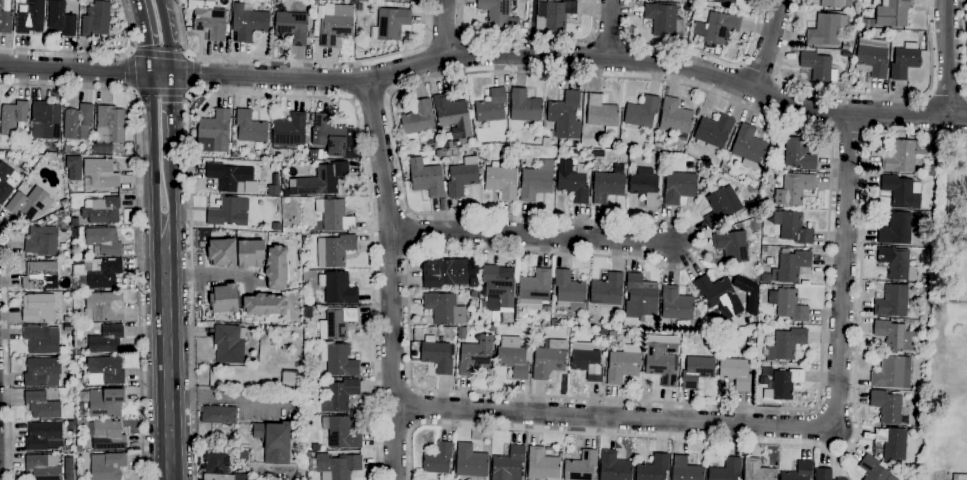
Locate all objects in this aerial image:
building: (405, 0)
building: (723, 1)
building: (836, 4)
building: (892, 13)
building: (498, 14)
building: (555, 16)
building: (30, 18)
building: (662, 19)
building: (60, 20)
building: (96, 20)
building: (209, 20)
building: (5, 21)
building: (248, 23)
building: (867, 23)
building: (390, 24)
building: (336, 26)
building: (291, 27)
road: (443, 28)
building: (717, 28)
road: (610, 29)
building: (826, 30)
building: (874, 30)
road: (147, 36)
road: (165, 36)
building: (310, 36)
road: (528, 38)
road: (768, 45)
road: (963, 45)
building: (845, 46)
road: (92, 54)
road: (698, 54)
road: (177, 56)
building: (871, 57)
road: (947, 57)
road: (561, 58)
road: (300, 60)
building: (905, 60)
building: (818, 67)
road: (76, 70)
road: (758, 70)
road: (131, 72)
traffic signals: (152, 74)
traffic signals: (169, 74)
road: (160, 92)
road: (858, 93)
road: (947, 94)
road: (264, 95)
road: (371, 97)
building: (491, 106)
building: (524, 107)
building: (641, 112)
building: (602, 114)
building: (565, 115)
road: (170, 116)
building: (452, 116)
building: (12, 117)
building: (675, 117)
building: (47, 119)
building: (417, 121)
building: (77, 122)
building: (110, 125)
building: (250, 128)
building: (712, 131)
building: (214, 132)
building: (289, 132)
road: (851, 133)
building: (307, 137)
building: (334, 137)
building: (431, 140)
building: (545, 142)
building: (748, 144)
building: (443, 145)
building: (659, 147)
building: (431, 148)
building: (66, 149)
building: (506, 151)
building: (516, 151)
building: (525, 152)
building: (438, 153)
building: (798, 154)
building: (9, 156)
road: (153, 156)
building: (904, 156)
building: (32, 158)
building: (257, 158)
building: (270, 158)
building: (625, 167)
building: (72, 168)
building: (932, 170)
building: (101, 173)
building: (717, 175)
building: (229, 177)
building: (462, 177)
building: (427, 178)
building: (322, 179)
building: (7, 181)
building: (536, 181)
building: (501, 182)
building: (572, 182)
building: (607, 186)
building: (248, 187)
building: (679, 187)
building: (644, 188)
building: (793, 189)
building: (901, 191)
road: (171, 199)
building: (65, 203)
building: (29, 204)
building: (718, 209)
building: (101, 210)
building: (228, 211)
building: (334, 215)
road: (137, 218)
building: (62, 222)
building: (74, 222)
park: (956, 224)
building: (795, 228)
building: (896, 229)
road: (532, 234)
building: (43, 238)
building: (103, 241)
building: (731, 246)
building: (763, 249)
building: (338, 250)
building: (221, 253)
building: (249, 254)
building: (85, 256)
building: (897, 263)
building: (792, 265)
building: (275, 268)
road: (209, 273)
building: (445, 273)
building: (40, 275)
building: (104, 275)
road: (391, 278)
building: (765, 278)
building: (474, 282)
building: (76, 285)
building: (497, 286)
building: (535, 286)
building: (337, 288)
building: (569, 290)
building: (605, 292)
building: (473, 294)
building: (719, 296)
building: (223, 298)
building: (640, 299)
building: (75, 300)
building: (892, 301)
building: (482, 304)
building: (676, 304)
building: (263, 305)
building: (790, 305)
building: (105, 306)
building: (38, 307)
building: (441, 308)
building: (308, 313)
building: (522, 316)
building: (66, 319)
building: (590, 320)
building: (554, 322)
building: (336, 323)
building: (68, 328)
building: (461, 333)
building: (612, 334)
building: (894, 337)
building: (538, 338)
building: (106, 339)
building: (41, 340)
building: (751, 341)
building: (229, 343)
building: (785, 344)
building: (285, 348)
building: (749, 350)
building: (924, 351)
road: (7, 353)
building: (80, 353)
building: (434, 355)
building: (476, 356)
road: (166, 358)
building: (81, 359)
building: (338, 360)
building: (514, 360)
building: (548, 360)
building: (662, 363)
building: (587, 364)
building: (623, 364)
building: (69, 365)
building: (106, 369)
building: (697, 371)
building: (42, 372)
building: (735, 373)
building: (891, 373)
building: (289, 378)
building: (785, 383)
building: (339, 395)
road: (545, 396)
road: (228, 397)
building: (105, 402)
building: (41, 405)
building: (886, 407)
building: (81, 414)
building: (219, 415)
building: (70, 425)
road: (774, 427)
building: (340, 432)
building: (106, 434)
building: (43, 436)
building: (274, 442)
building: (892, 443)
road: (814, 446)
building: (79, 448)
building: (437, 460)
building: (470, 461)
building: (216, 464)
building: (508, 464)
building: (338, 465)
building: (542, 465)
building: (107, 466)
building: (581, 466)
building: (43, 467)
building: (614, 467)
building: (653, 468)
building: (874, 469)
building: (685, 470)
building: (726, 470)
building: (757, 471)
building: (799, 472)
building: (823, 474)
building: (240, 477)
building: (841, 479)

